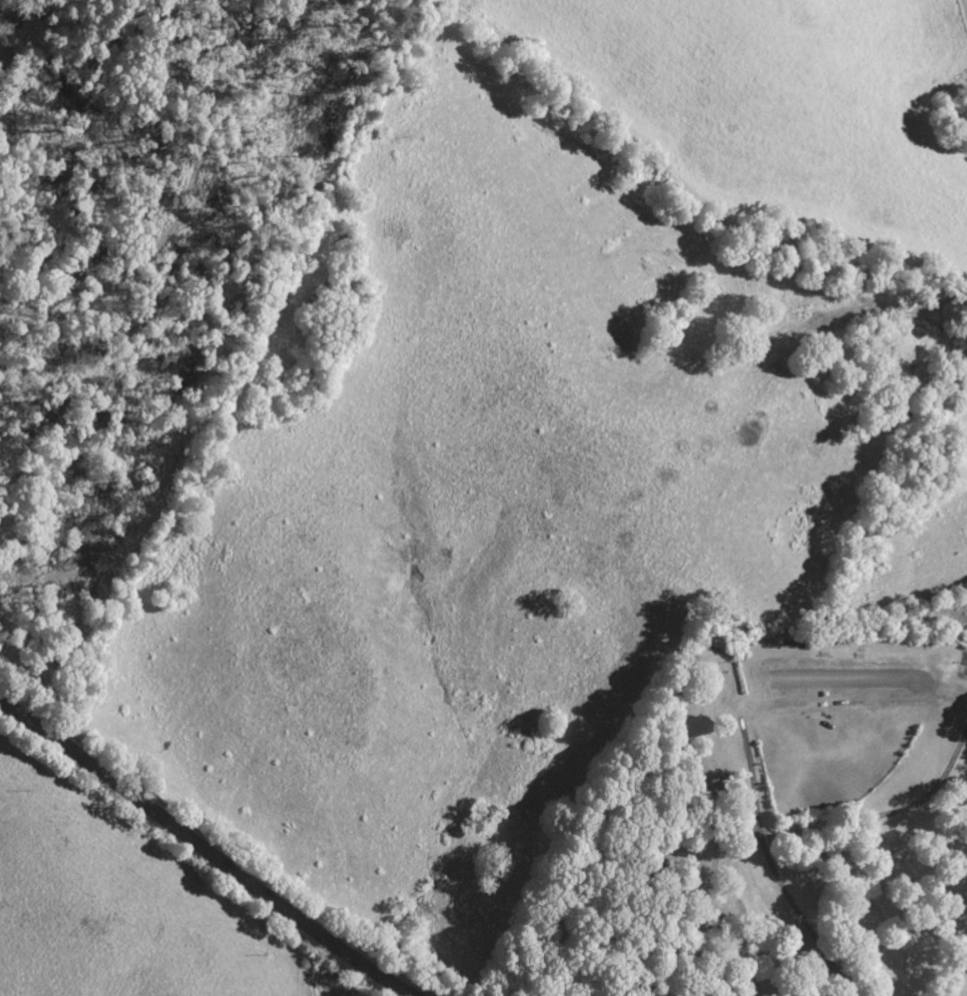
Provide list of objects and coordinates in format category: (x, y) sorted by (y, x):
park: (764, 820)
road: (204, 849)
road: (795, 901)

